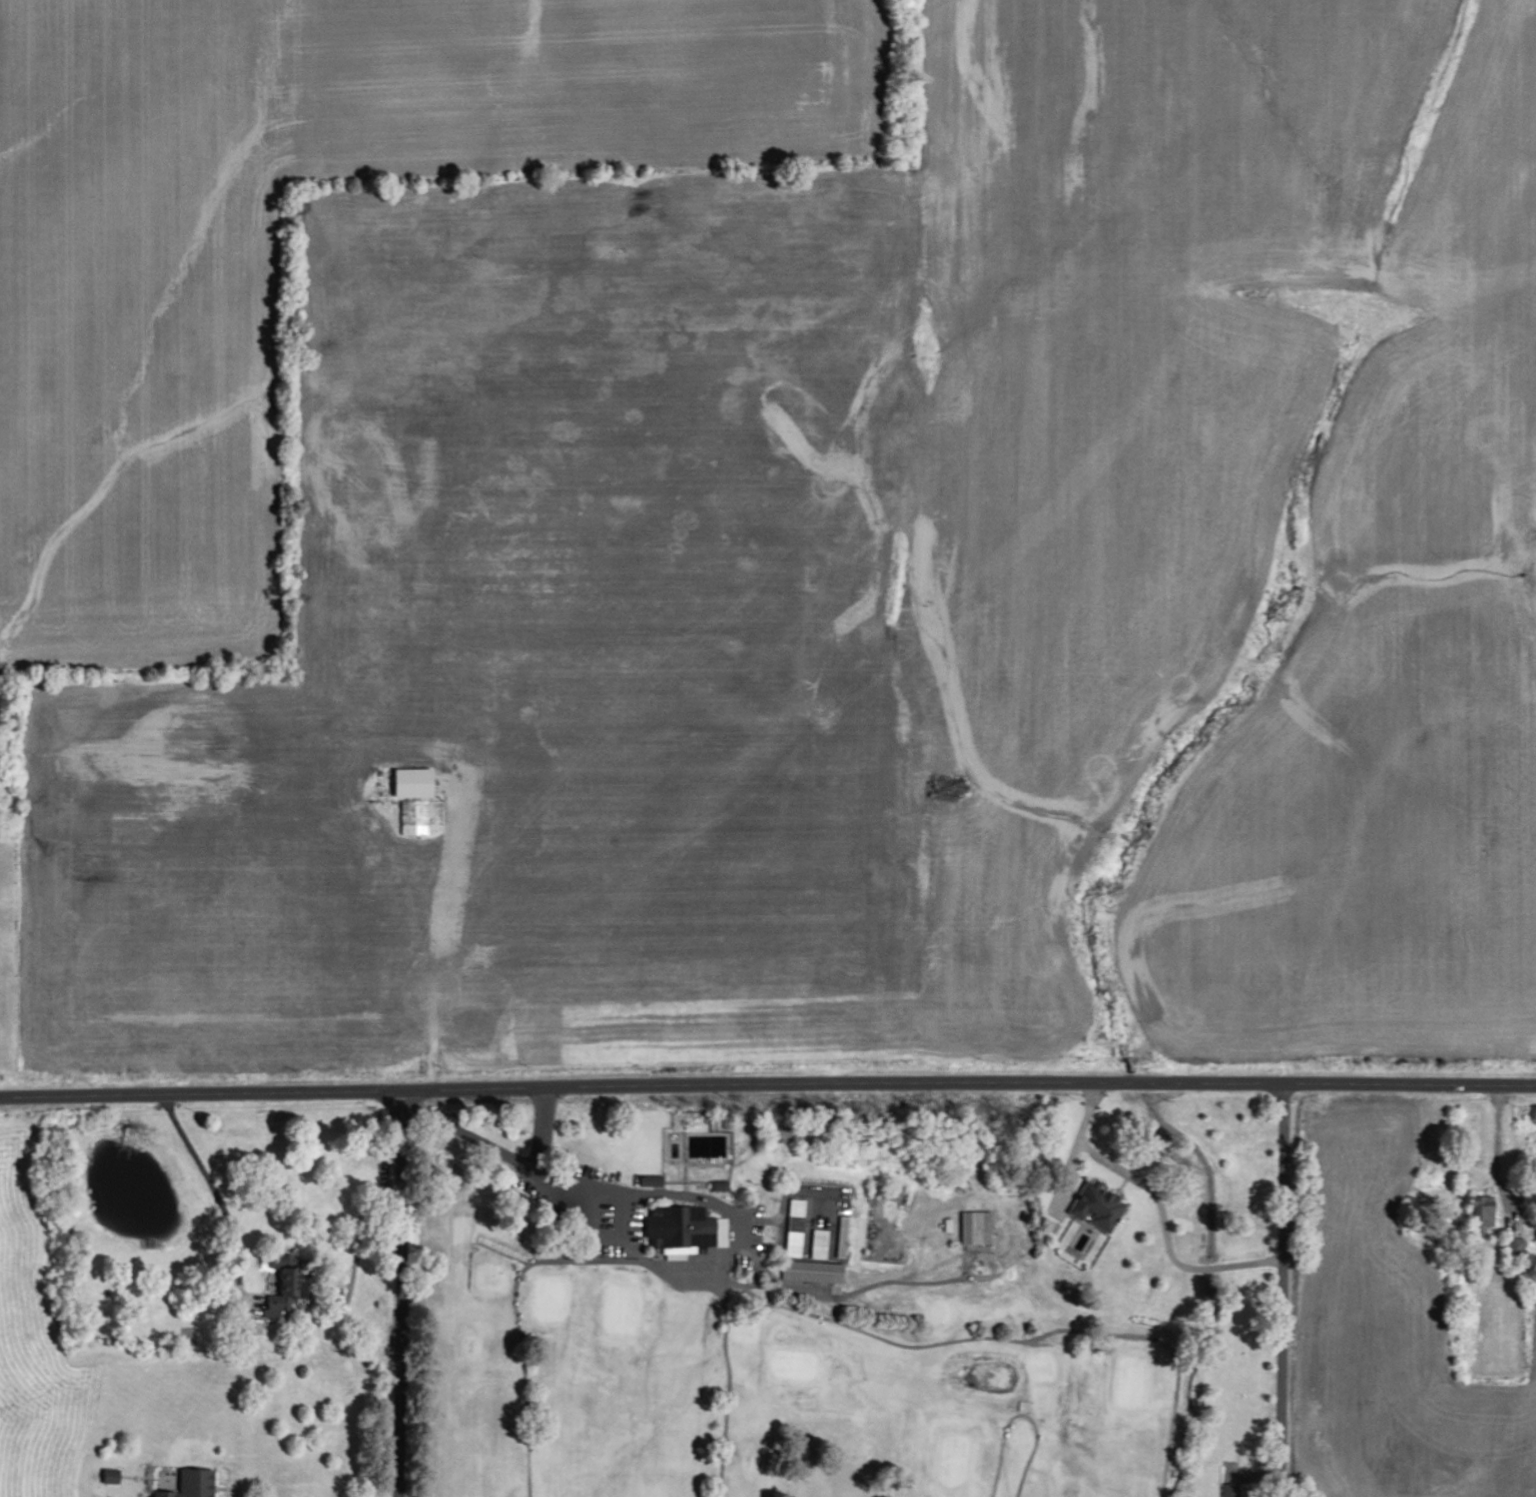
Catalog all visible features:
building: (417, 785)
building: (417, 820)
road: (767, 1082)
building: (655, 1183)
building: (1107, 1203)
building: (1488, 1213)
building: (957, 1220)
building: (694, 1222)
building: (986, 1222)
building: (805, 1223)
building: (855, 1232)
building: (830, 1239)
road: (619, 1252)
building: (816, 1274)
building: (294, 1283)
road: (1280, 1290)
road: (409, 1294)
park: (852, 1301)
road: (1022, 1333)
road: (1030, 1412)
building: (116, 1478)
building: (199, 1485)
building: (1235, 1491)

